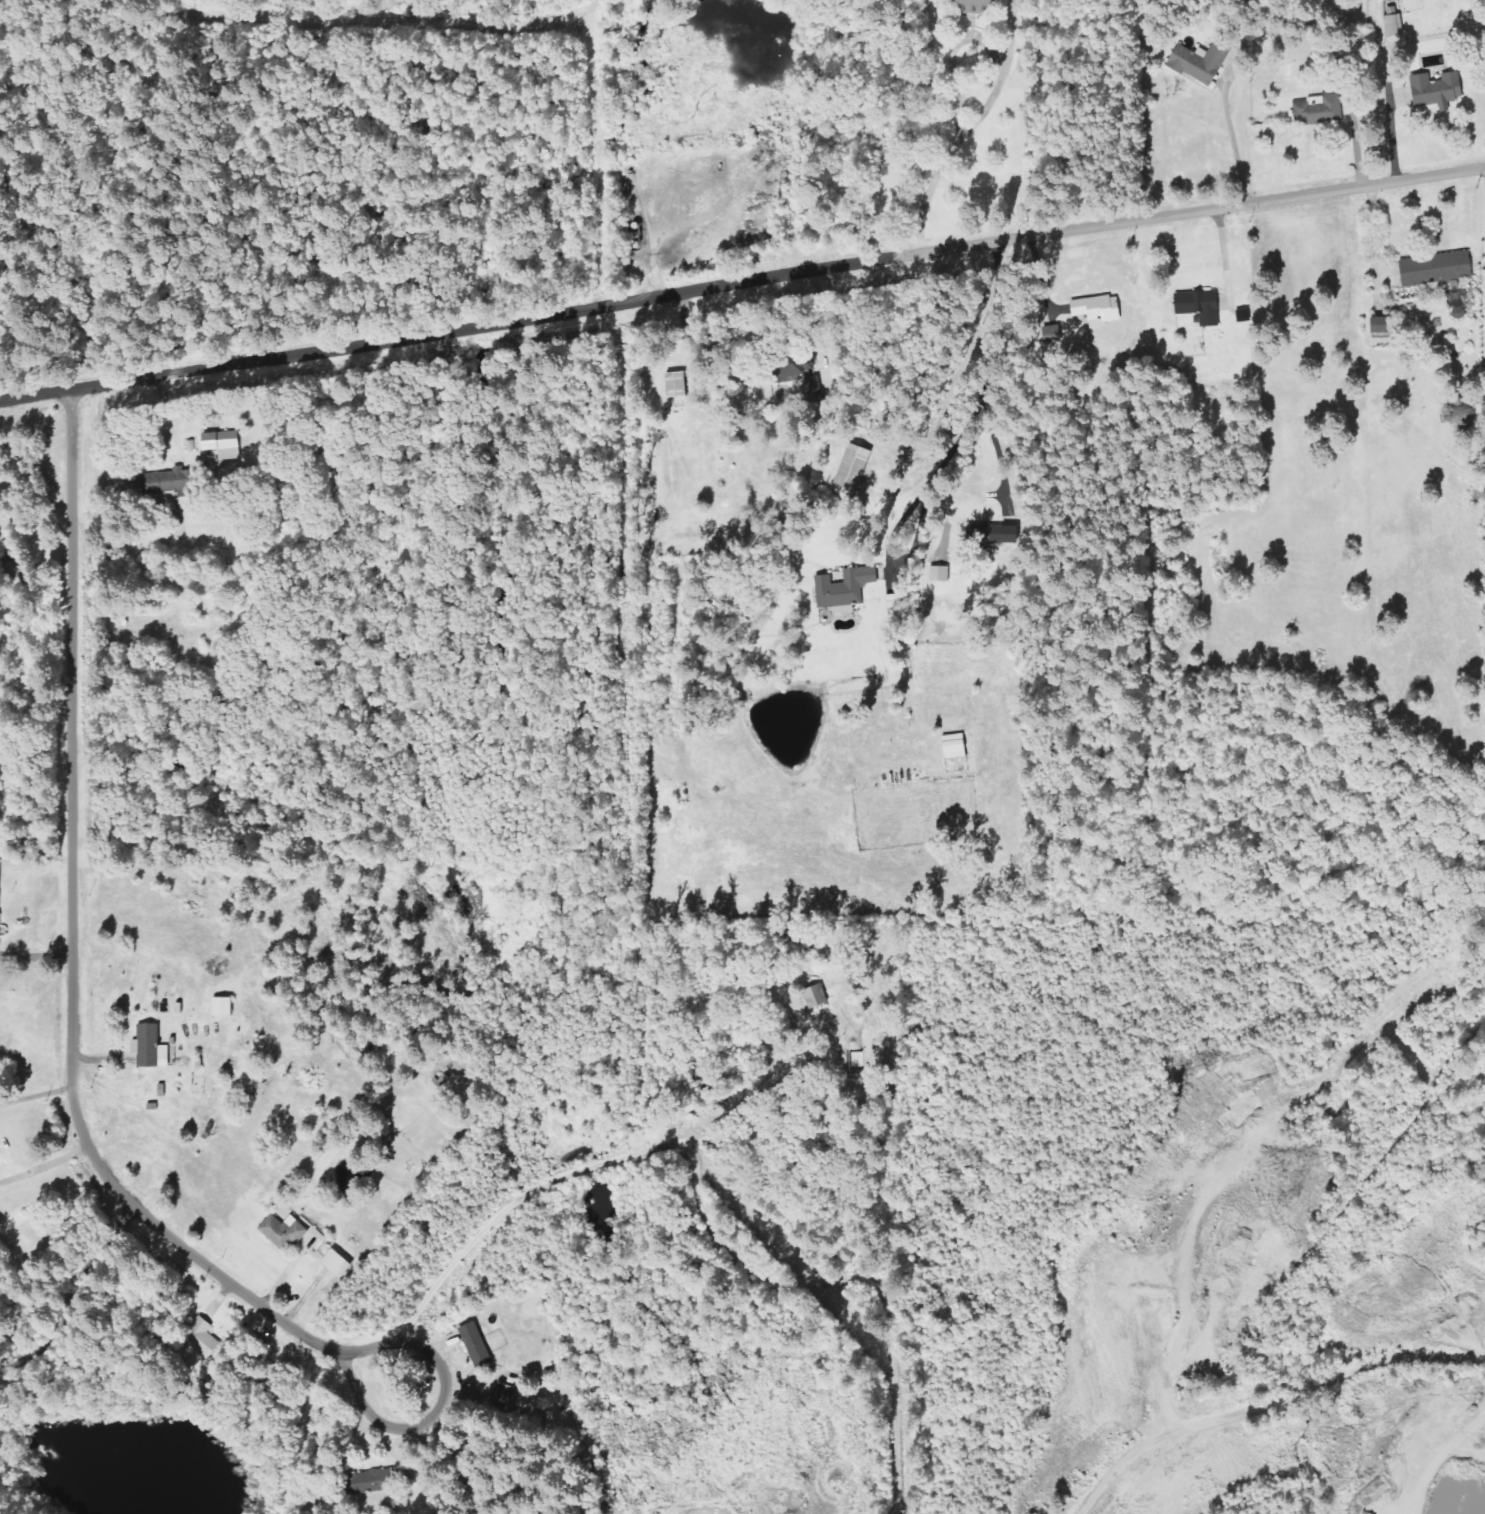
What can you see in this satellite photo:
building: (976, 7)
building: (1202, 62)
building: (1438, 90)
road: (995, 93)
building: (1320, 111)
building: (1441, 273)
road: (742, 284)
building: (1201, 307)
building: (1099, 310)
building: (1384, 326)
building: (802, 373)
building: (677, 385)
road: (975, 409)
building: (224, 444)
building: (854, 468)
building: (170, 482)
building: (995, 532)
building: (941, 574)
building: (846, 589)
building: (956, 746)
building: (0, 926)
road: (73, 934)
building: (817, 996)
building: (224, 1006)
building: (151, 1047)
road: (37, 1094)
road: (44, 1164)
building: (285, 1231)
building: (338, 1263)
road: (69, 1292)
building: (201, 1337)
building: (477, 1345)
road: (347, 1371)
building: (506, 1398)
road: (1270, 1406)
building: (371, 1482)

